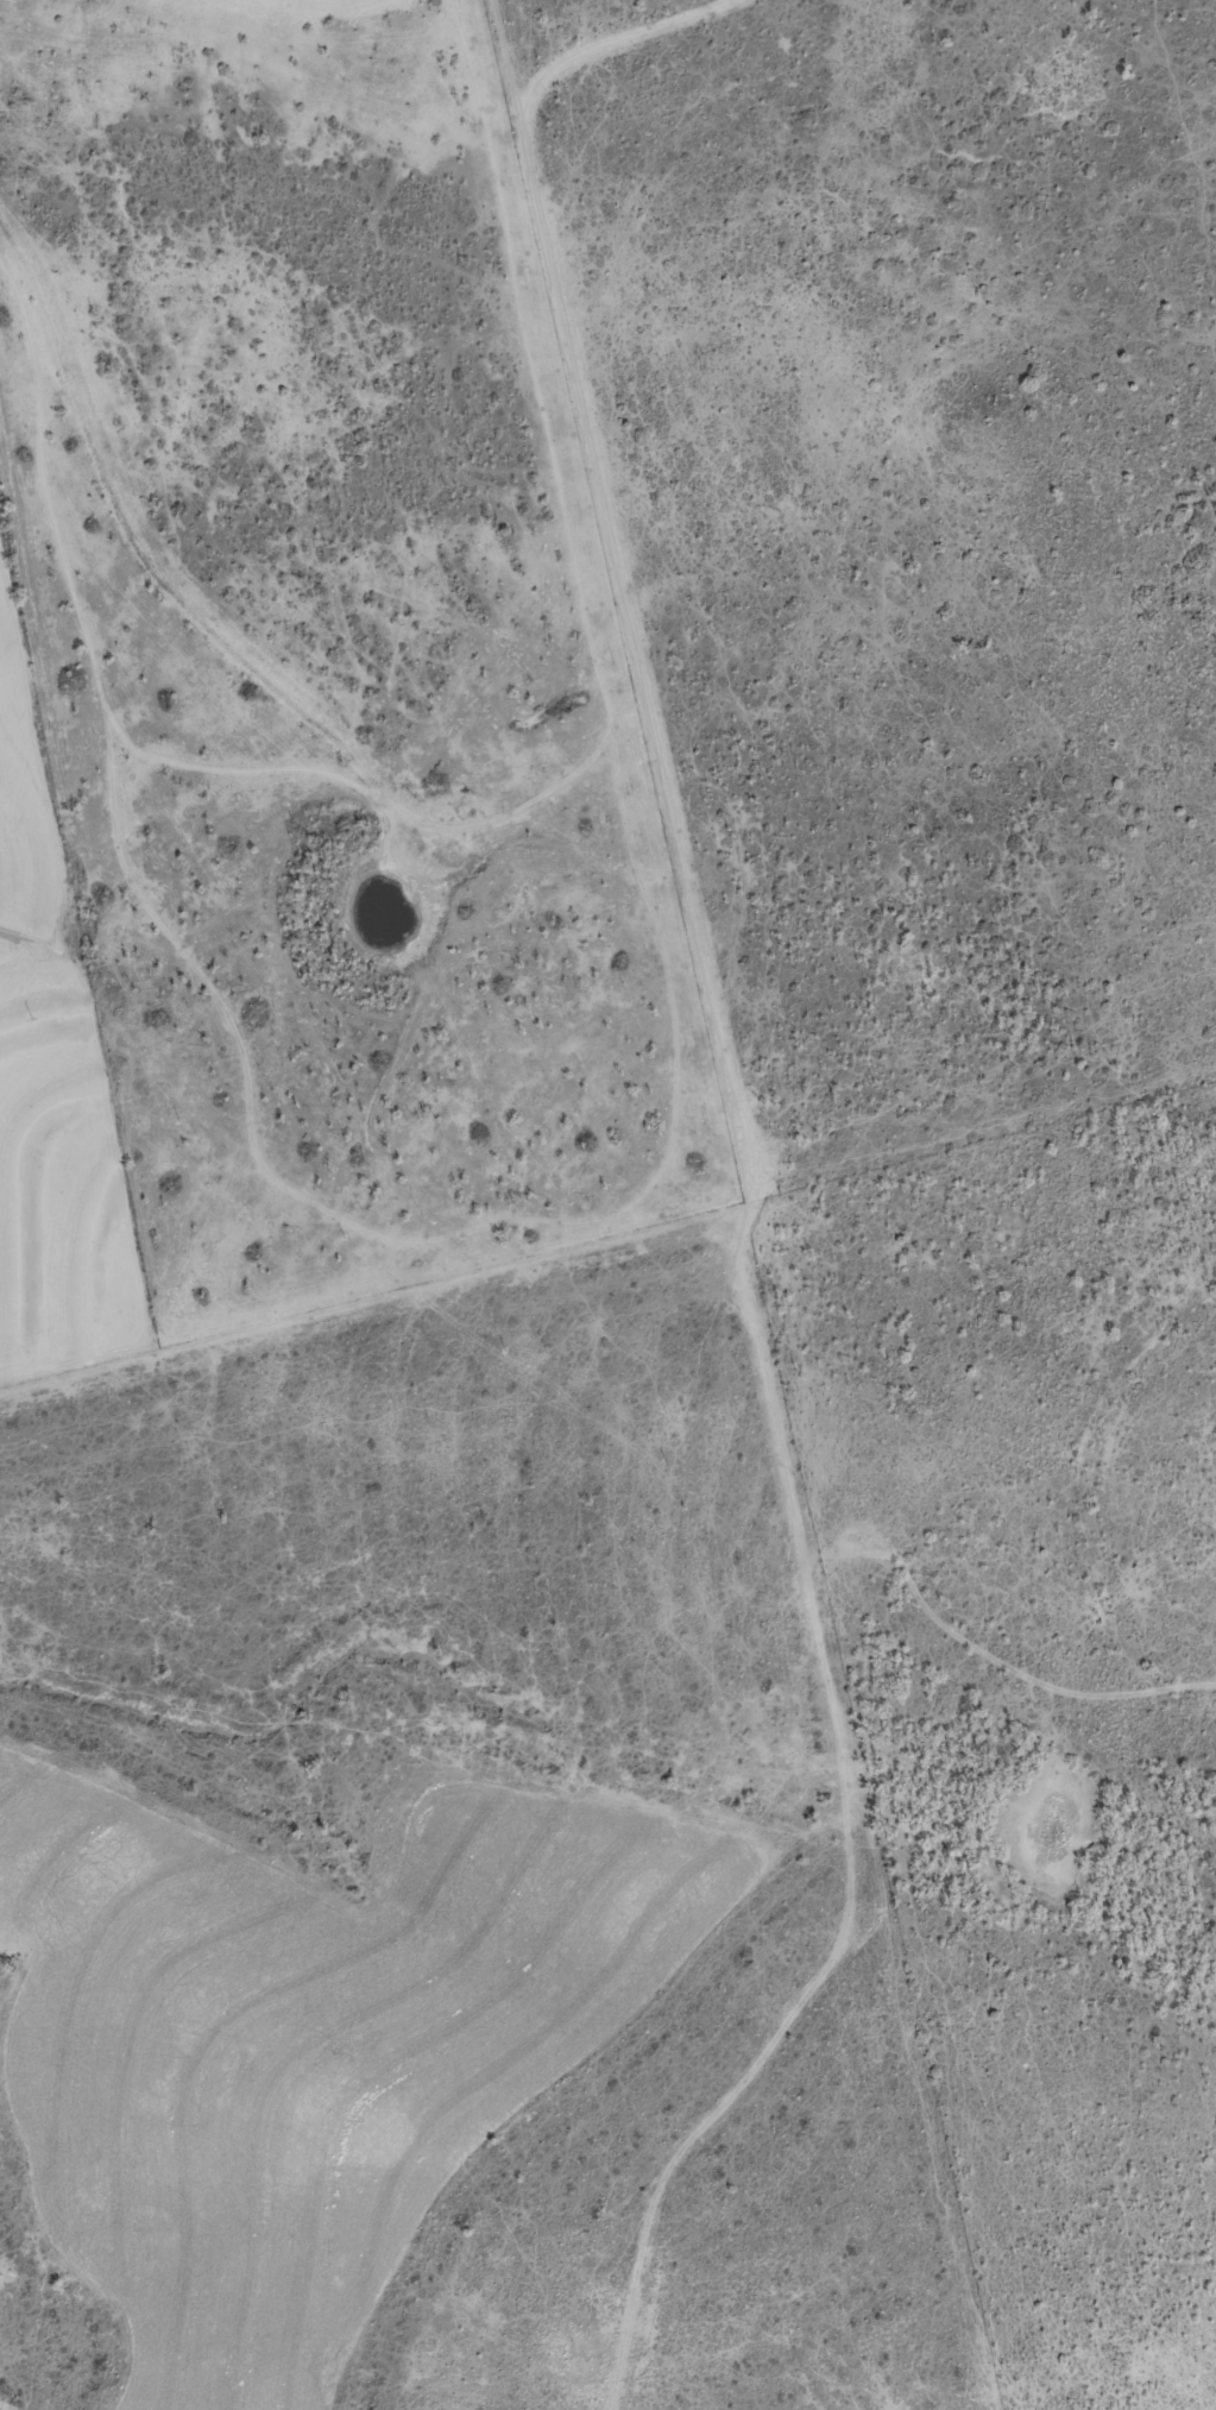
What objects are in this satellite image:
road: (530, 94)
road: (12, 281)
road: (84, 642)

